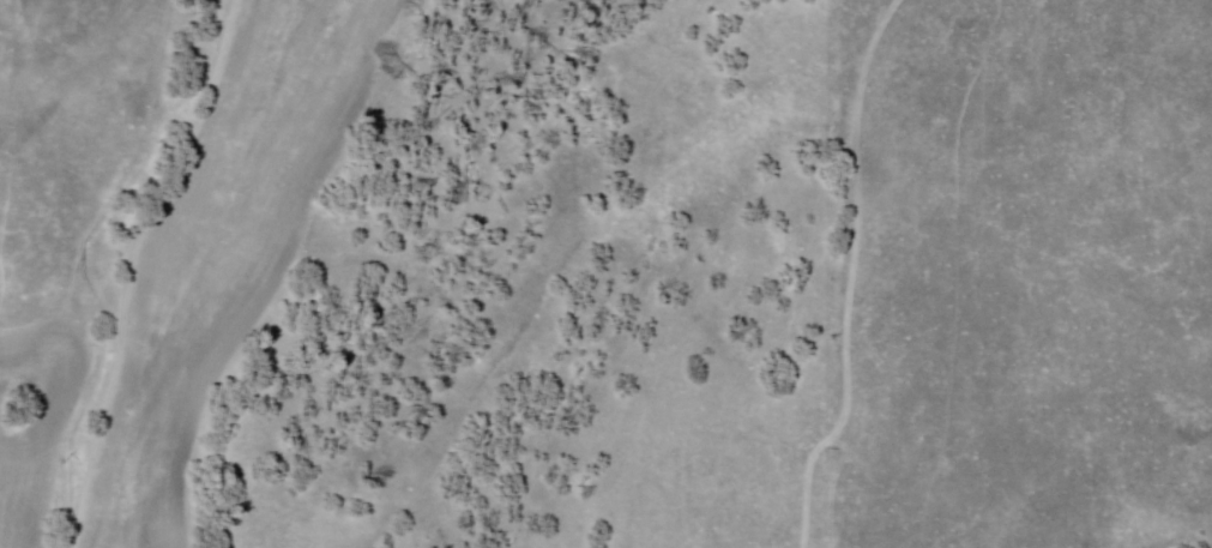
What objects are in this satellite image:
road: (127, 269)

